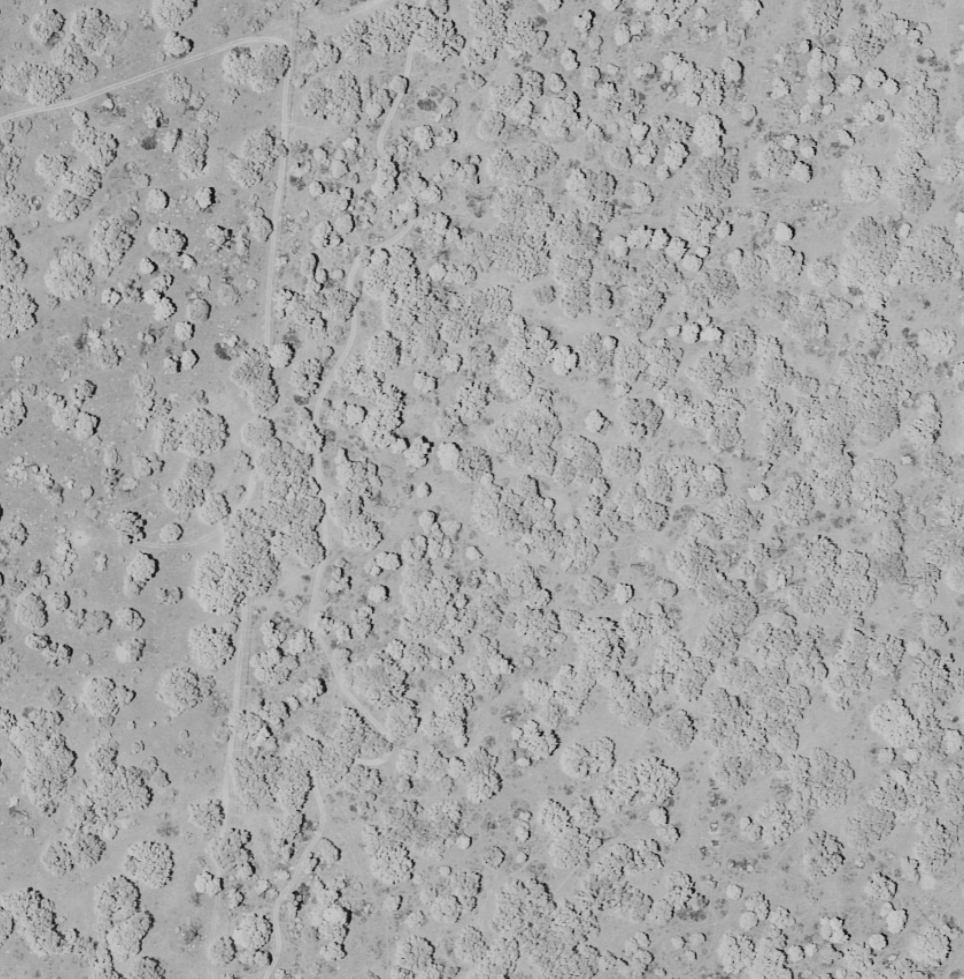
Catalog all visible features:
power tower: (340, 12)
road: (244, 85)
power tower: (63, 98)

